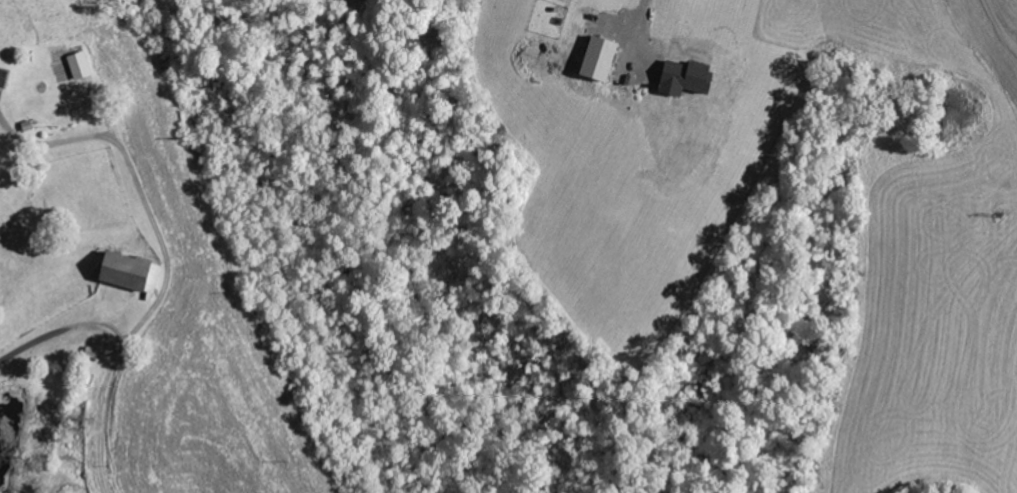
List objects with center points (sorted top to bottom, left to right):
road: (642, 19)
road: (999, 23)
building: (595, 60)
building: (85, 66)
building: (6, 77)
building: (681, 79)
building: (134, 270)
road: (165, 284)
road: (63, 330)

